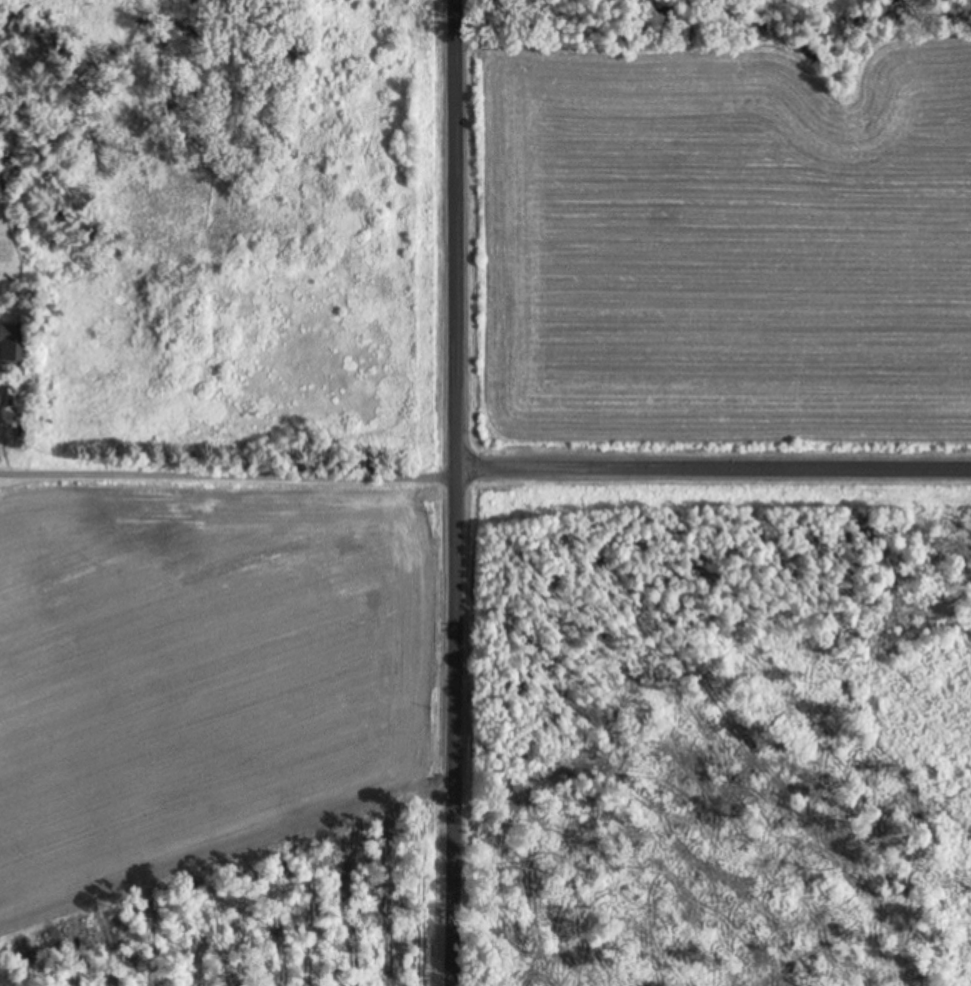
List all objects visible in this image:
road: (228, 481)
road: (714, 486)
road: (456, 492)

